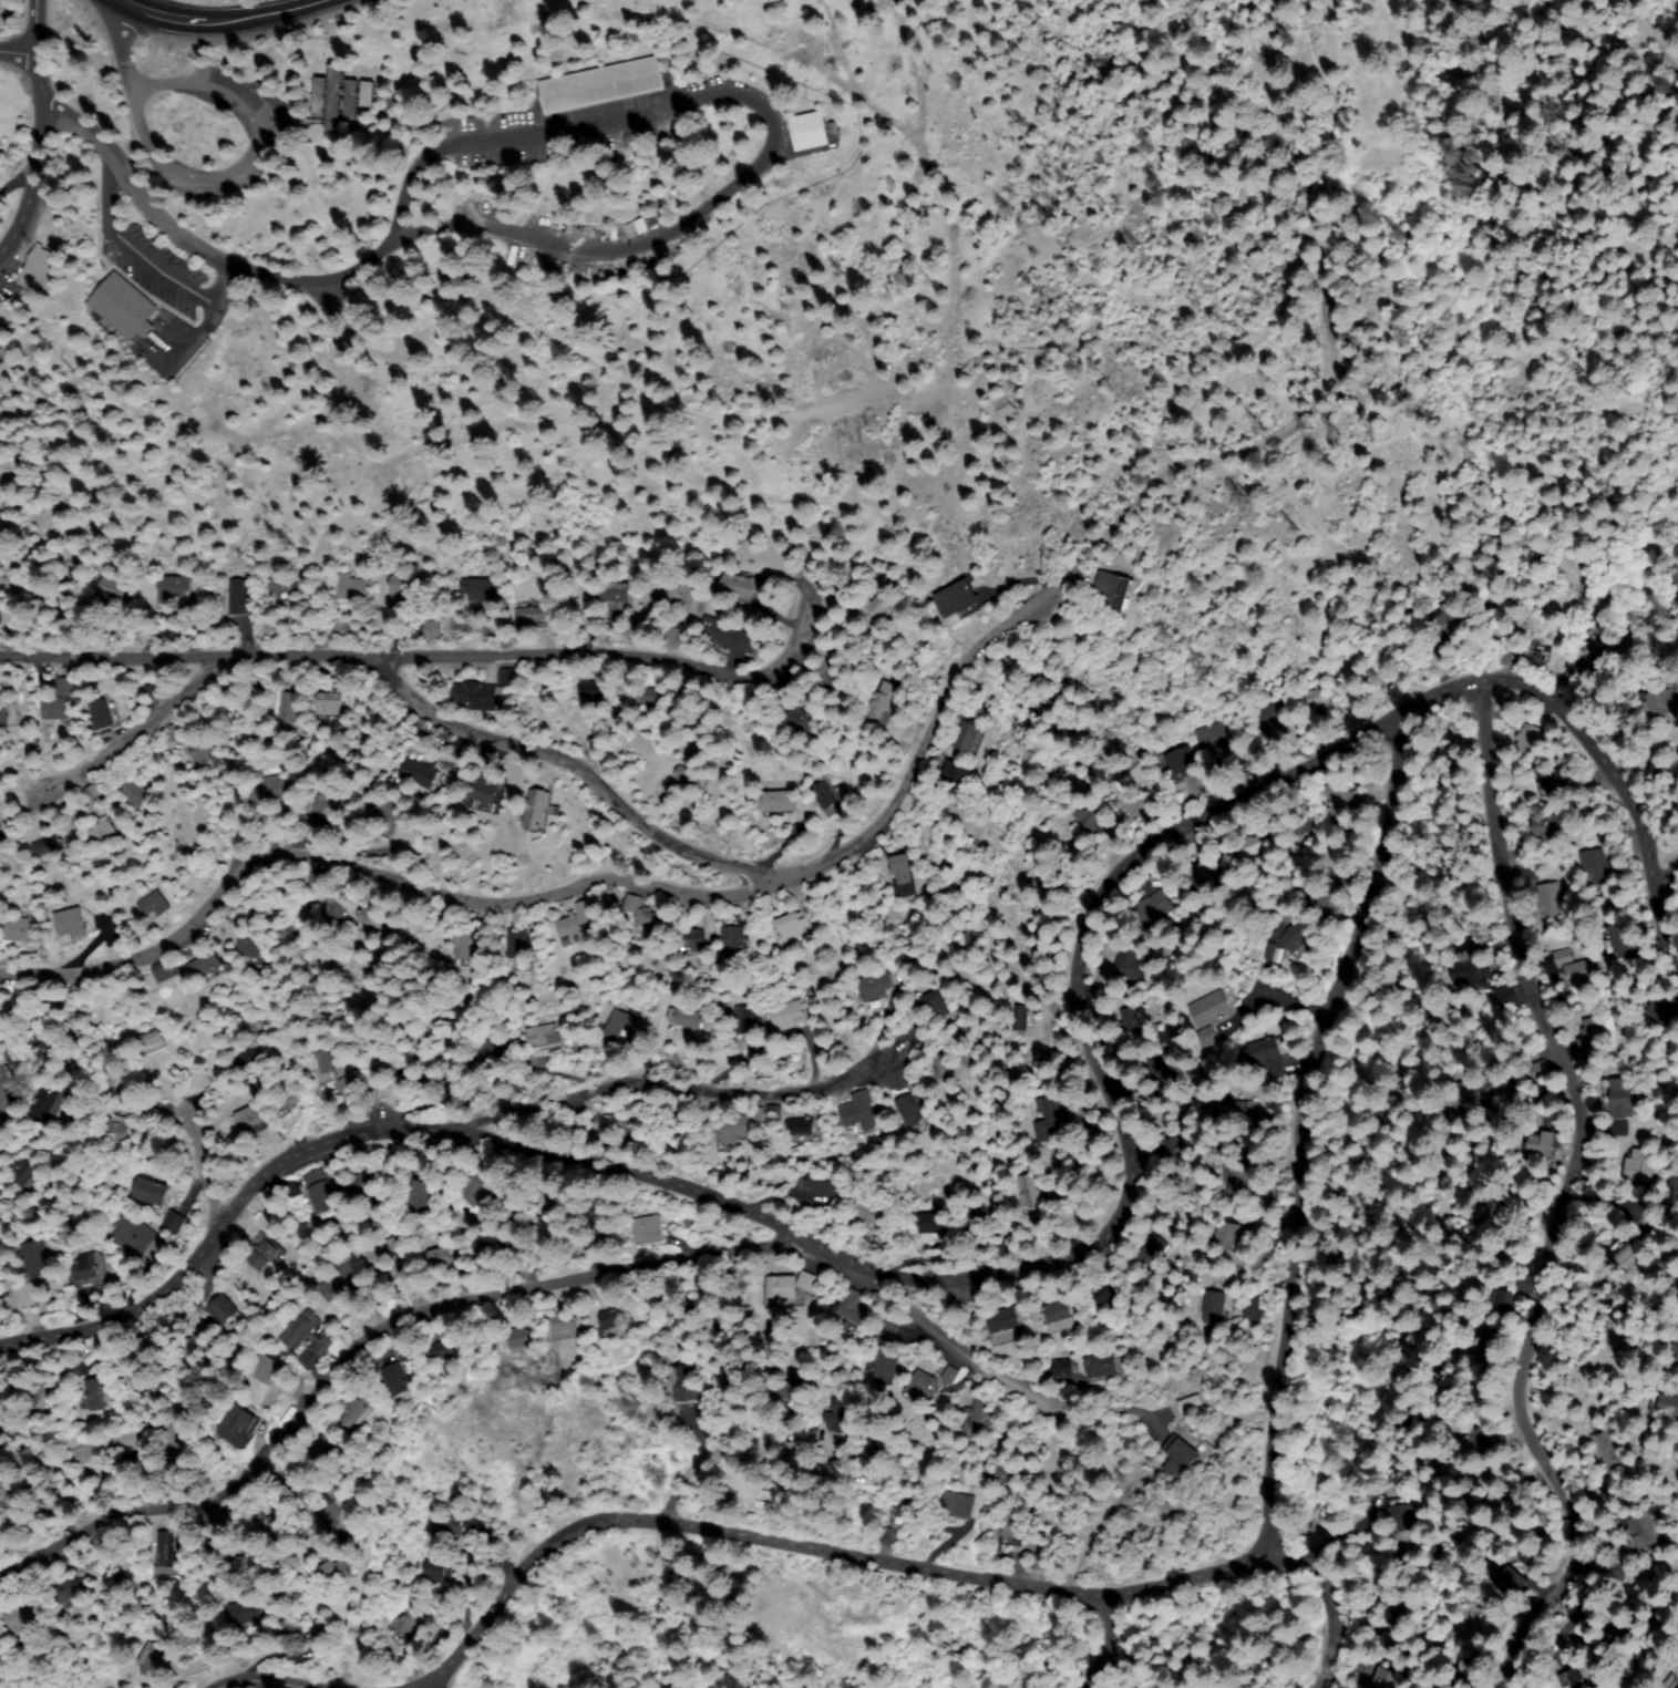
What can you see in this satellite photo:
building: (6, 4)
road: (227, 21)
road: (1647, 43)
road: (135, 50)
building: (601, 85)
building: (341, 97)
road: (739, 97)
road: (1319, 100)
road: (261, 112)
parking lot: (264, 125)
road: (18, 128)
building: (810, 131)
road: (126, 168)
building: (41, 269)
road: (305, 289)
building: (124, 306)
road: (874, 383)
road: (1279, 434)
building: (1674, 577)
building: (282, 585)
building: (742, 587)
building: (405, 588)
building: (1113, 588)
building: (111, 589)
building: (356, 589)
building: (173, 590)
building: (616, 591)
building: (669, 594)
building: (482, 595)
building: (238, 598)
building: (959, 598)
building: (878, 607)
building: (533, 615)
building: (1443, 615)
building: (433, 629)
building: (729, 636)
building: (1597, 648)
building: (827, 652)
road: (542, 665)
building: (509, 677)
building: (151, 692)
building: (590, 693)
building: (785, 694)
building: (480, 696)
building: (62, 697)
building: (657, 697)
building: (1314, 698)
building: (1660, 698)
building: (329, 700)
building: (883, 704)
building: (288, 708)
building: (100, 713)
building: (1268, 718)
building: (6, 720)
building: (806, 720)
road: (130, 737)
building: (970, 737)
building: (1215, 737)
building: (1526, 738)
building: (199, 752)
building: (1178, 762)
building: (1664, 772)
building: (421, 774)
building: (955, 776)
building: (692, 779)
building: (1132, 779)
building: (1556, 782)
building: (484, 789)
building: (268, 791)
road: (555, 793)
building: (138, 794)
building: (826, 796)
building: (1339, 797)
road: (1625, 799)
building: (781, 802)
building: (334, 809)
building: (384, 811)
building: (537, 811)
building: (1089, 814)
building: (1546, 825)
building: (0, 827)
building: (1296, 828)
building: (103, 830)
building: (48, 846)
building: (1246, 846)
building: (904, 865)
building: (1594, 867)
road: (1662, 871)
building: (1204, 873)
building: (317, 883)
road: (587, 891)
building: (1550, 900)
building: (1319, 903)
building: (634, 904)
building: (154, 905)
building: (336, 906)
building: (1155, 910)
building: (373, 917)
building: (580, 925)
building: (74, 926)
building: (649, 926)
building: (791, 929)
building: (22, 930)
building: (1290, 936)
building: (728, 939)
building: (1618, 941)
building: (249, 944)
building: (714, 946)
building: (464, 949)
building: (519, 951)
building: (206, 964)
building: (1131, 965)
building: (1472, 967)
building: (1569, 967)
building: (166, 970)
building: (876, 987)
building: (1505, 996)
building: (939, 1003)
building: (1212, 1008)
road: (1276, 1013)
building: (1660, 1015)
building: (688, 1016)
building: (1028, 1017)
building: (787, 1018)
building: (1130, 1018)
building: (747, 1020)
building: (619, 1026)
building: (241, 1029)
building: (1208, 1036)
building: (543, 1037)
building: (1587, 1037)
building: (152, 1041)
building: (492, 1049)
building: (1258, 1052)
building: (321, 1060)
building: (943, 1066)
building: (1536, 1071)
building: (1134, 1079)
building: (1162, 1079)
building: (455, 1082)
building: (1476, 1092)
building: (1615, 1099)
road: (677, 1102)
building: (49, 1104)
building: (909, 1108)
building: (1231, 1108)
building: (773, 1113)
building: (250, 1115)
building: (759, 1115)
building: (863, 1116)
building: (1050, 1118)
building: (614, 1122)
building: (678, 1124)
building: (802, 1125)
road: (1289, 1126)
building: (732, 1131)
building: (120, 1132)
building: (801, 1136)
building: (1535, 1144)
building: (1166, 1150)
building: (1634, 1166)
building: (29, 1170)
road: (197, 1173)
building: (1237, 1180)
building: (822, 1182)
building: (478, 1190)
building: (321, 1191)
building: (1031, 1191)
building: (420, 1192)
building: (152, 1194)
building: (804, 1196)
road: (1559, 1200)
building: (604, 1213)
building: (874, 1215)
building: (175, 1222)
building: (977, 1223)
building: (934, 1224)
building: (648, 1231)
building: (137, 1236)
building: (1231, 1236)
building: (1151, 1248)
building: (387, 1252)
building: (1622, 1252)
building: (264, 1255)
building: (437, 1256)
building: (37, 1262)
building: (89, 1270)
road: (907, 1276)
building: (810, 1282)
building: (341, 1283)
building: (1110, 1287)
building: (782, 1289)
building: (1501, 1301)
building: (679, 1305)
building: (1216, 1306)
building: (850, 1309)
building: (226, 1311)
building: (724, 1311)
building: (1058, 1311)
road: (426, 1316)
building: (563, 1322)
building: (615, 1322)
building: (1005, 1322)
building: (299, 1328)
building: (886, 1332)
building: (519, 1338)
road: (1002, 1339)
building: (1489, 1344)
building: (1676, 1345)
building: (322, 1346)
building: (400, 1351)
building: (409, 1352)
building: (444, 1352)
building: (884, 1363)
building: (1101, 1366)
building: (267, 1368)
building: (1064, 1368)
building: (70, 1372)
building: (947, 1373)
building: (141, 1381)
building: (400, 1383)
building: (683, 1386)
building: (922, 1387)
building: (735, 1391)
building: (792, 1392)
building: (94, 1393)
building: (41, 1399)
building: (1665, 1403)
building: (1191, 1404)
building: (358, 1406)
building: (841, 1416)
building: (980, 1417)
building: (238, 1425)
building: (128, 1440)
building: (181, 1441)
building: (1480, 1445)
building: (1609, 1448)
building: (323, 1449)
building: (83, 1453)
road: (716, 1458)
building: (1180, 1458)
building: (1001, 1472)
building: (22, 1491)
building: (1515, 1496)
building: (957, 1506)
building: (915, 1512)
building: (1396, 1516)
road: (247, 1519)
building: (452, 1524)
building: (267, 1525)
building: (1011, 1530)
building: (1643, 1532)
building: (185, 1536)
road: (815, 1541)
building: (94, 1546)
building: (218, 1552)
building: (164, 1554)
building: (1037, 1561)
building: (333, 1567)
building: (1610, 1567)
building: (440, 1571)
building: (114, 1576)
building: (69, 1581)
building: (1532, 1582)
building: (1504, 1584)
road: (1321, 1599)
building: (244, 1614)
building: (1391, 1614)
building: (18, 1615)
building: (408, 1624)
building: (1622, 1633)
road: (1087, 1640)
building: (155, 1656)
building: (1469, 1666)
building: (1376, 1677)
road: (290, 1678)
building: (1568, 1678)
building: (1229, 1684)
building: (1677, 1687)

